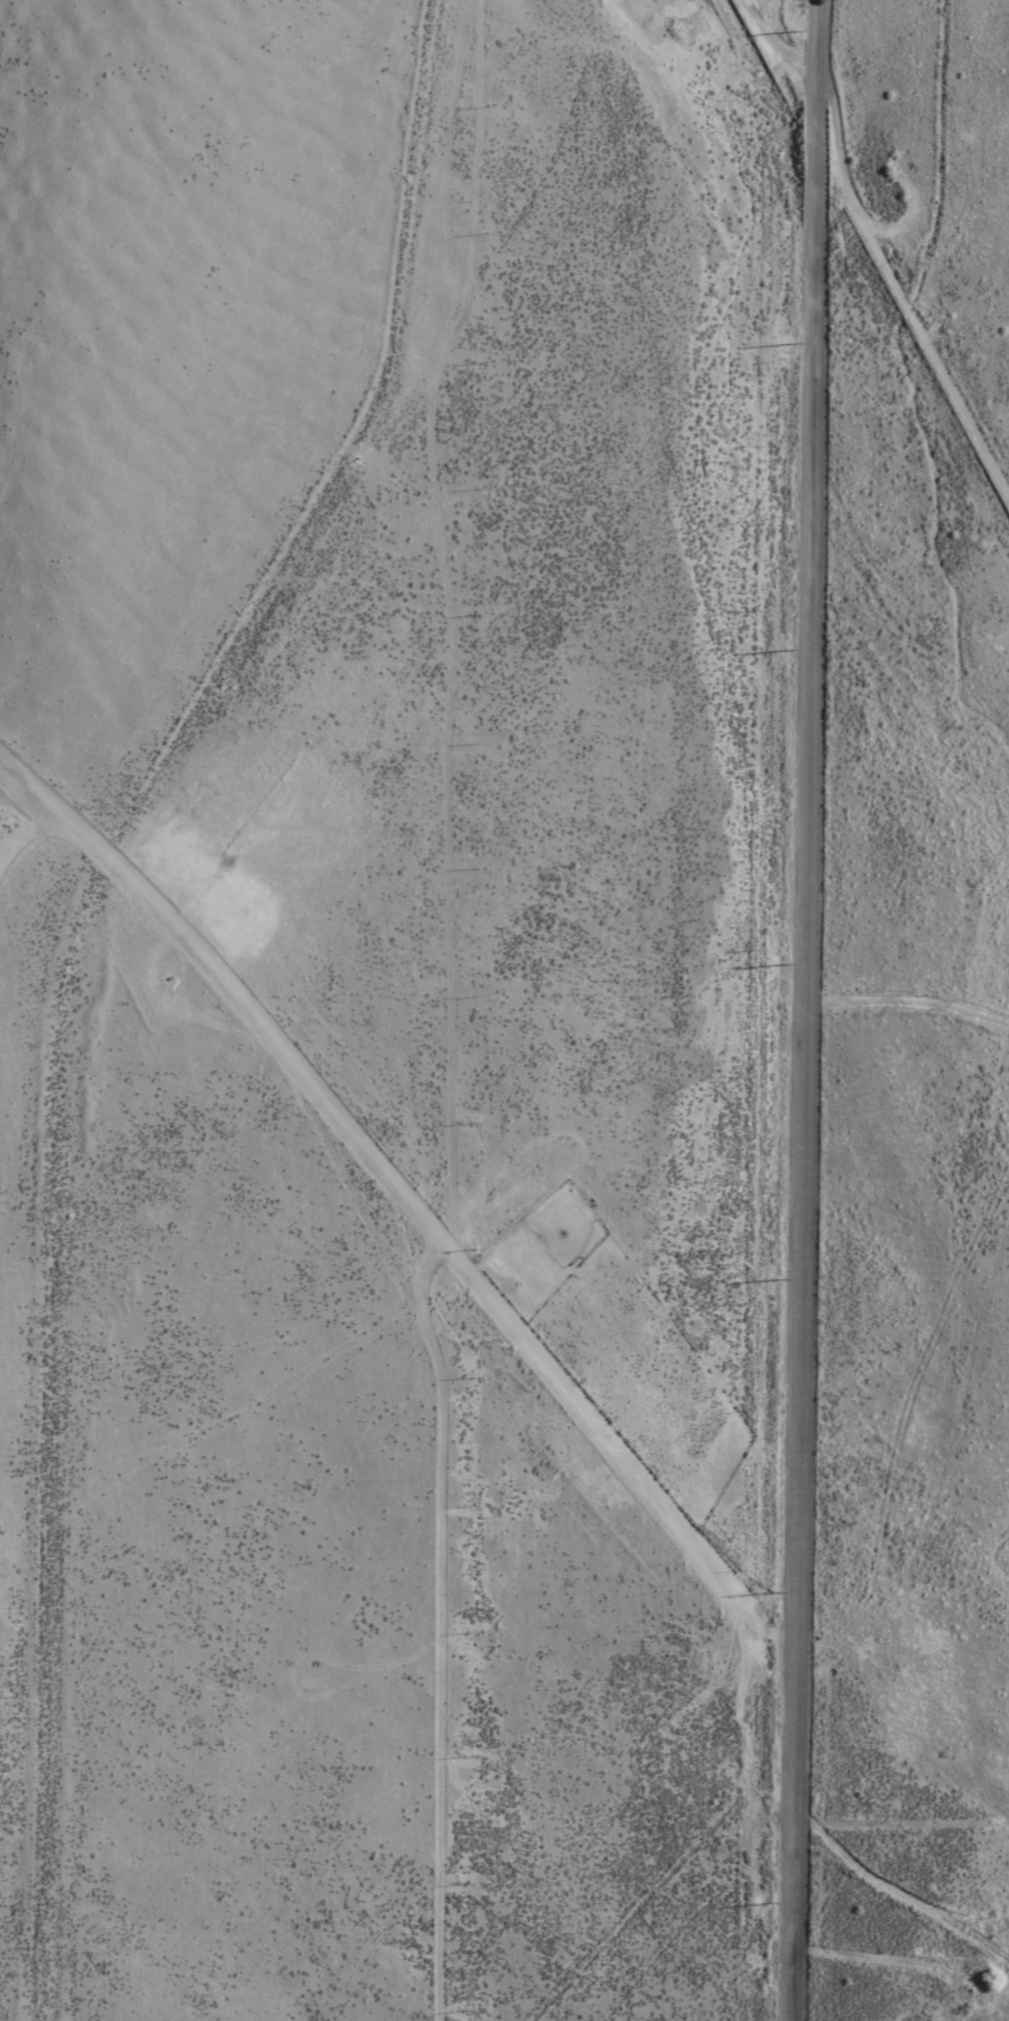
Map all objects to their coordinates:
road: (802, 1010)
road: (414, 1175)

